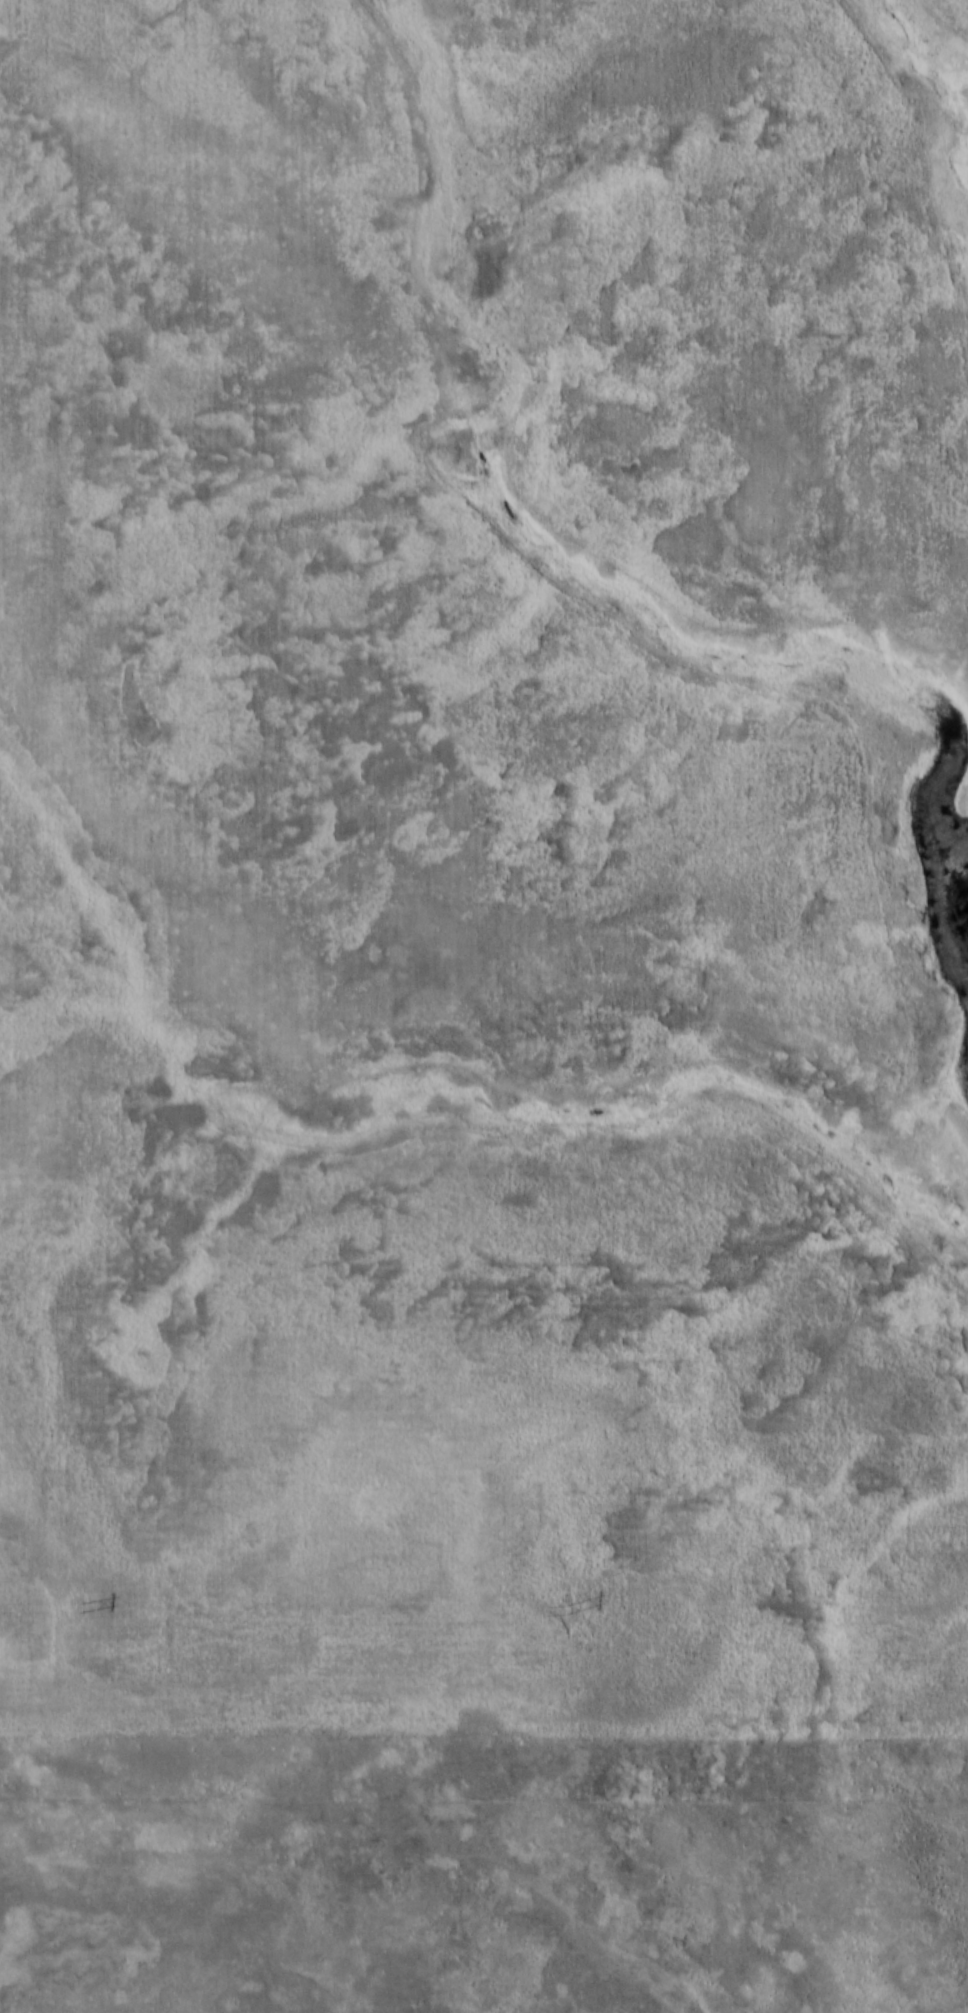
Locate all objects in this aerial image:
power tower: (78, 1611)
power tower: (569, 1611)

